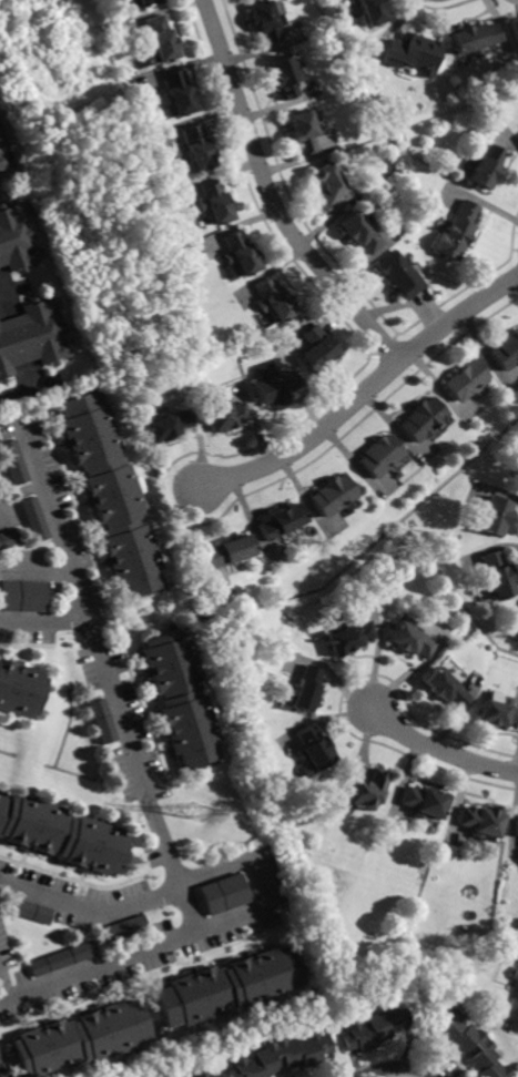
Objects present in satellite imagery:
building: (141, 3)
building: (374, 11)
building: (267, 22)
building: (514, 30)
building: (474, 39)
building: (160, 41)
building: (414, 54)
building: (284, 77)
building: (177, 94)
building: (303, 131)
building: (196, 148)
building: (3, 160)
building: (484, 167)
building: (329, 186)
road: (272, 196)
building: (215, 203)
building: (455, 232)
building: (359, 233)
building: (17, 240)
building: (240, 254)
building: (398, 275)
road: (10, 287)
building: (273, 301)
building: (33, 336)
building: (319, 349)
building: (506, 350)
building: (465, 380)
building: (274, 387)
road: (29, 390)
road: (364, 393)
building: (224, 415)
building: (420, 419)
building: (166, 426)
building: (380, 455)
building: (16, 461)
building: (111, 494)
building: (332, 495)
building: (496, 517)
building: (34, 519)
building: (280, 522)
building: (9, 538)
building: (228, 552)
building: (497, 576)
building: (22, 595)
road: (43, 624)
building: (348, 638)
building: (412, 641)
road: (109, 674)
building: (20, 689)
building: (306, 689)
building: (447, 689)
building: (181, 698)
building: (499, 712)
building: (104, 721)
building: (314, 748)
road: (438, 749)
building: (367, 790)
building: (424, 802)
power tower: (197, 811)
building: (483, 822)
building: (517, 826)
building: (62, 834)
building: (224, 894)
road: (90, 903)
building: (31, 911)
building: (126, 928)
road: (141, 949)
building: (64, 958)
building: (230, 987)
road: (3, 988)
building: (514, 1004)
building: (374, 1028)
building: (82, 1039)
building: (469, 1044)
building: (282, 1056)
road: (402, 1066)
building: (2, 1068)
building: (201, 1074)
building: (172, 1076)
building: (182, 1076)
building: (212, 1076)

